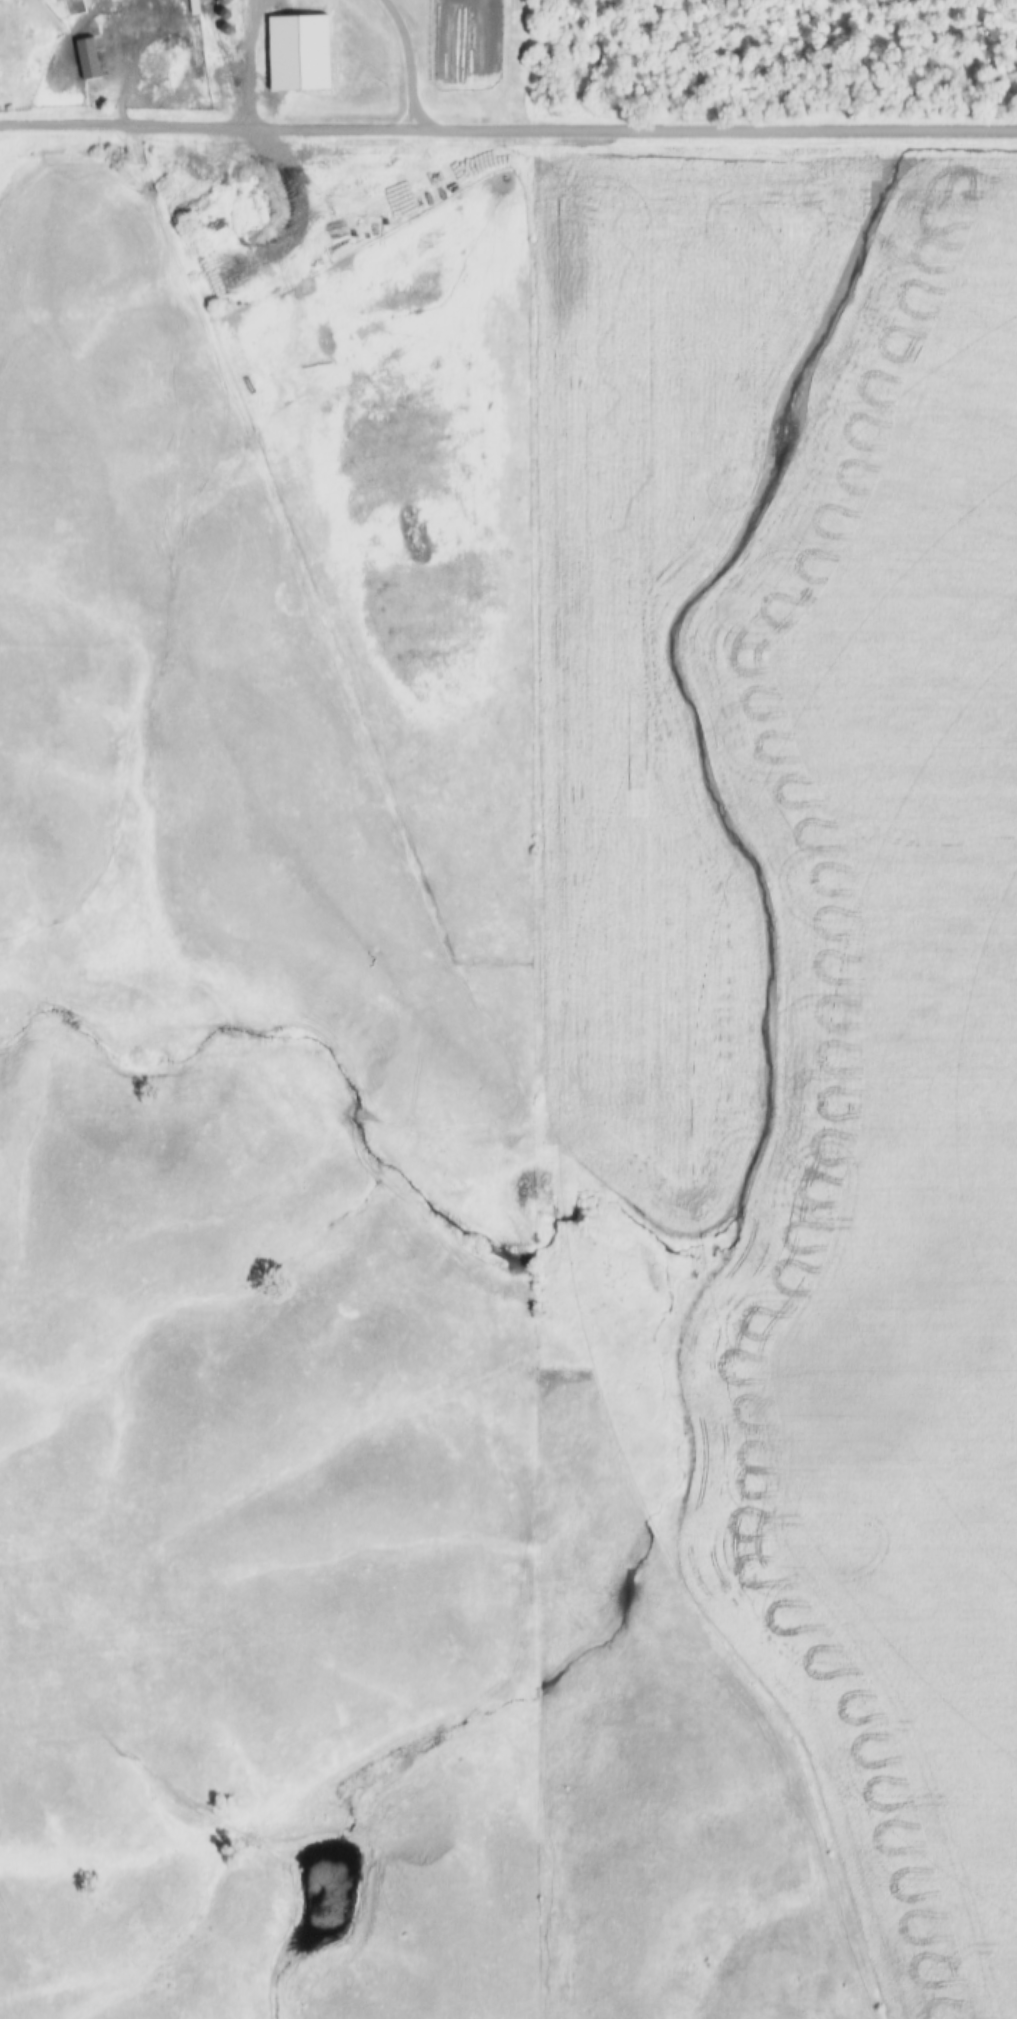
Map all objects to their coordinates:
building: (302, 55)
building: (93, 60)
road: (411, 62)
road: (252, 63)
road: (126, 121)
road: (634, 133)

